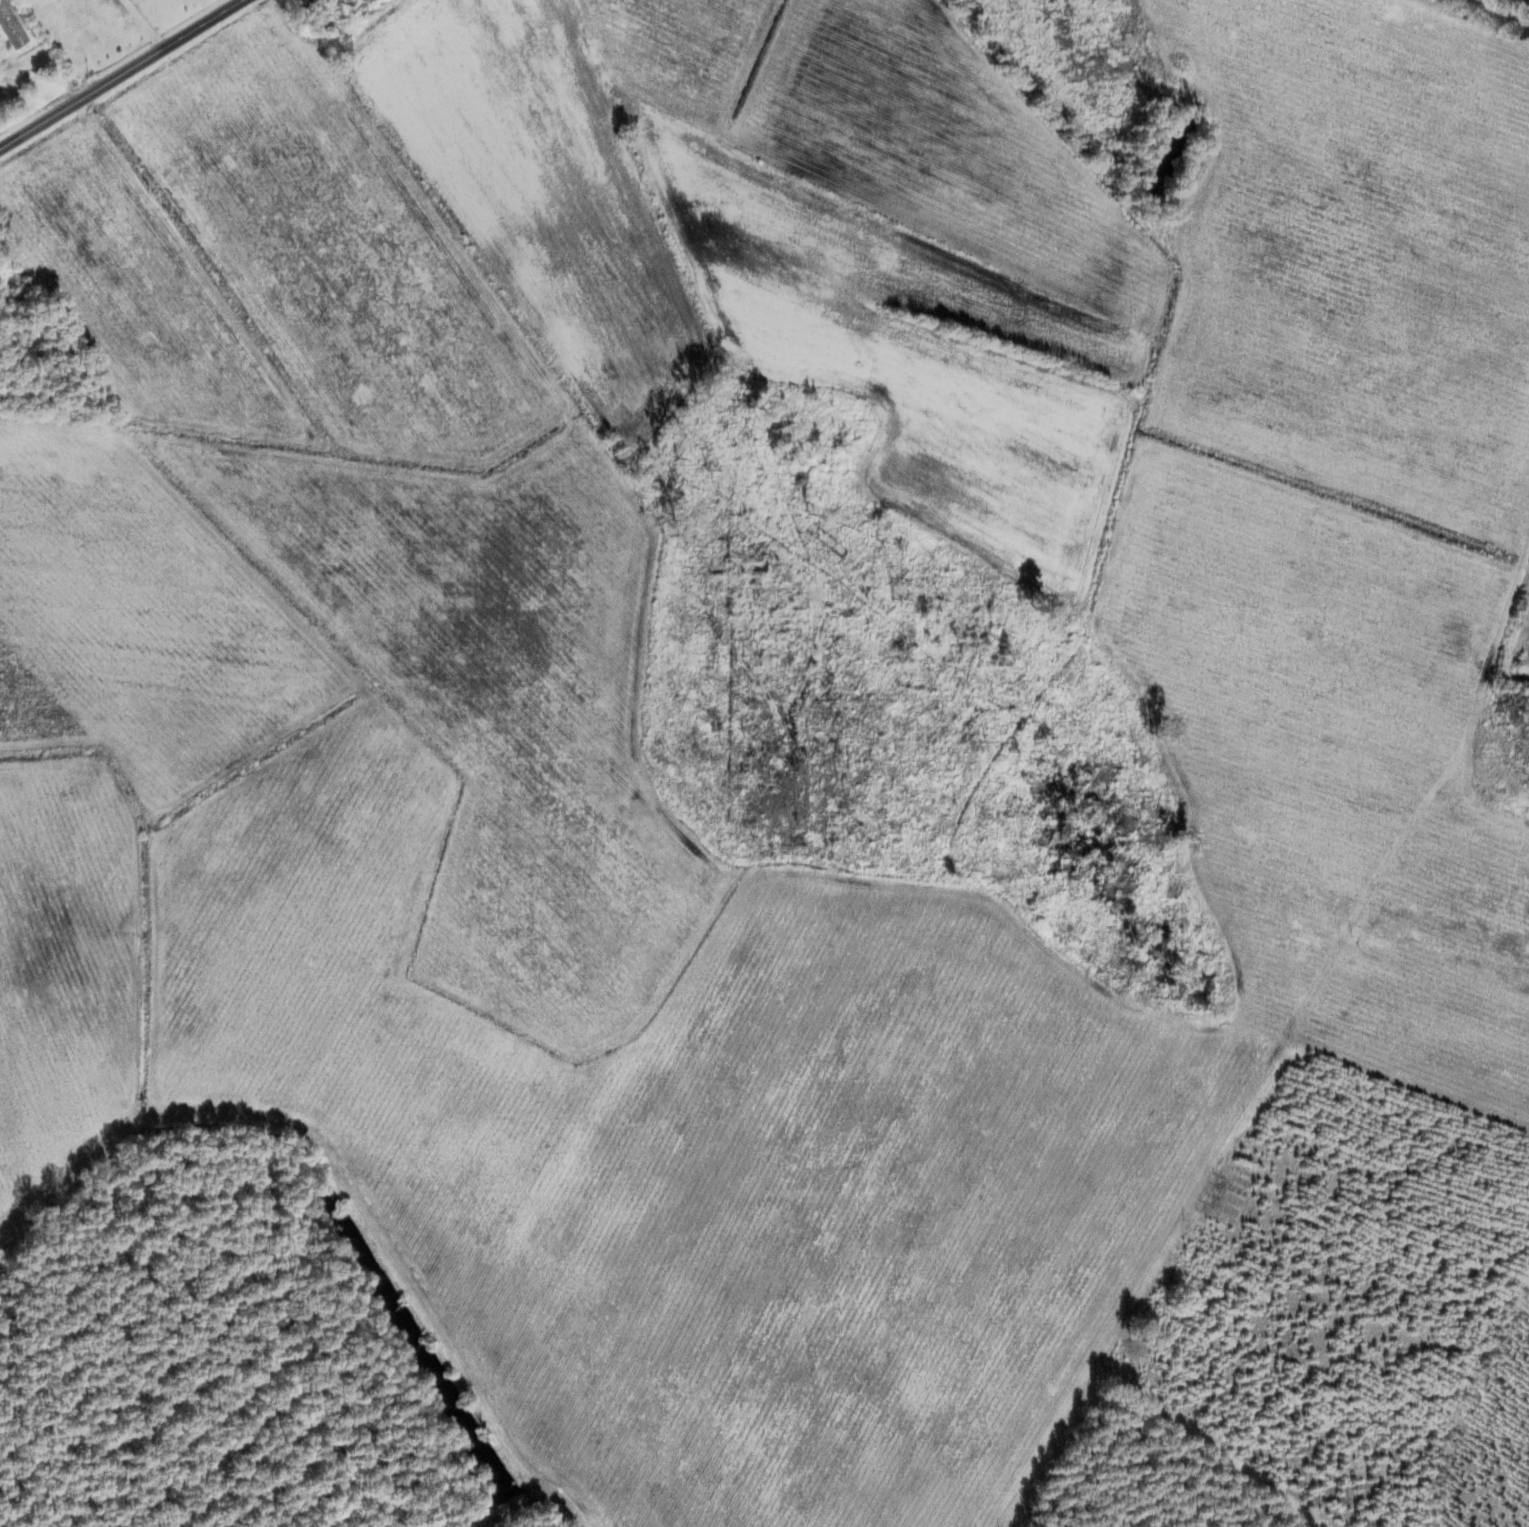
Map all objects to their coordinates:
building: (307, 3)
road: (120, 74)
road: (20, 585)
building: (1210, 1189)
building: (1208, 1240)
road: (1099, 1242)
building: (1142, 1388)

